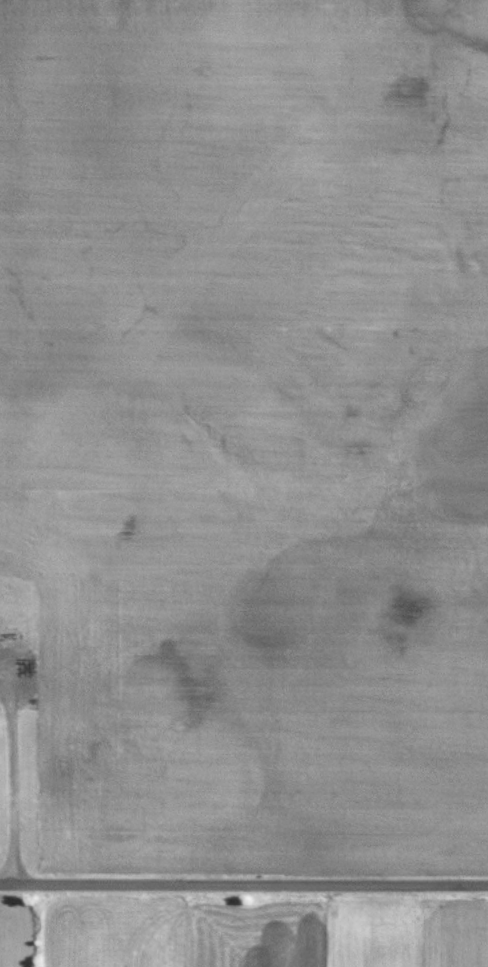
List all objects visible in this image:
road: (243, 886)

